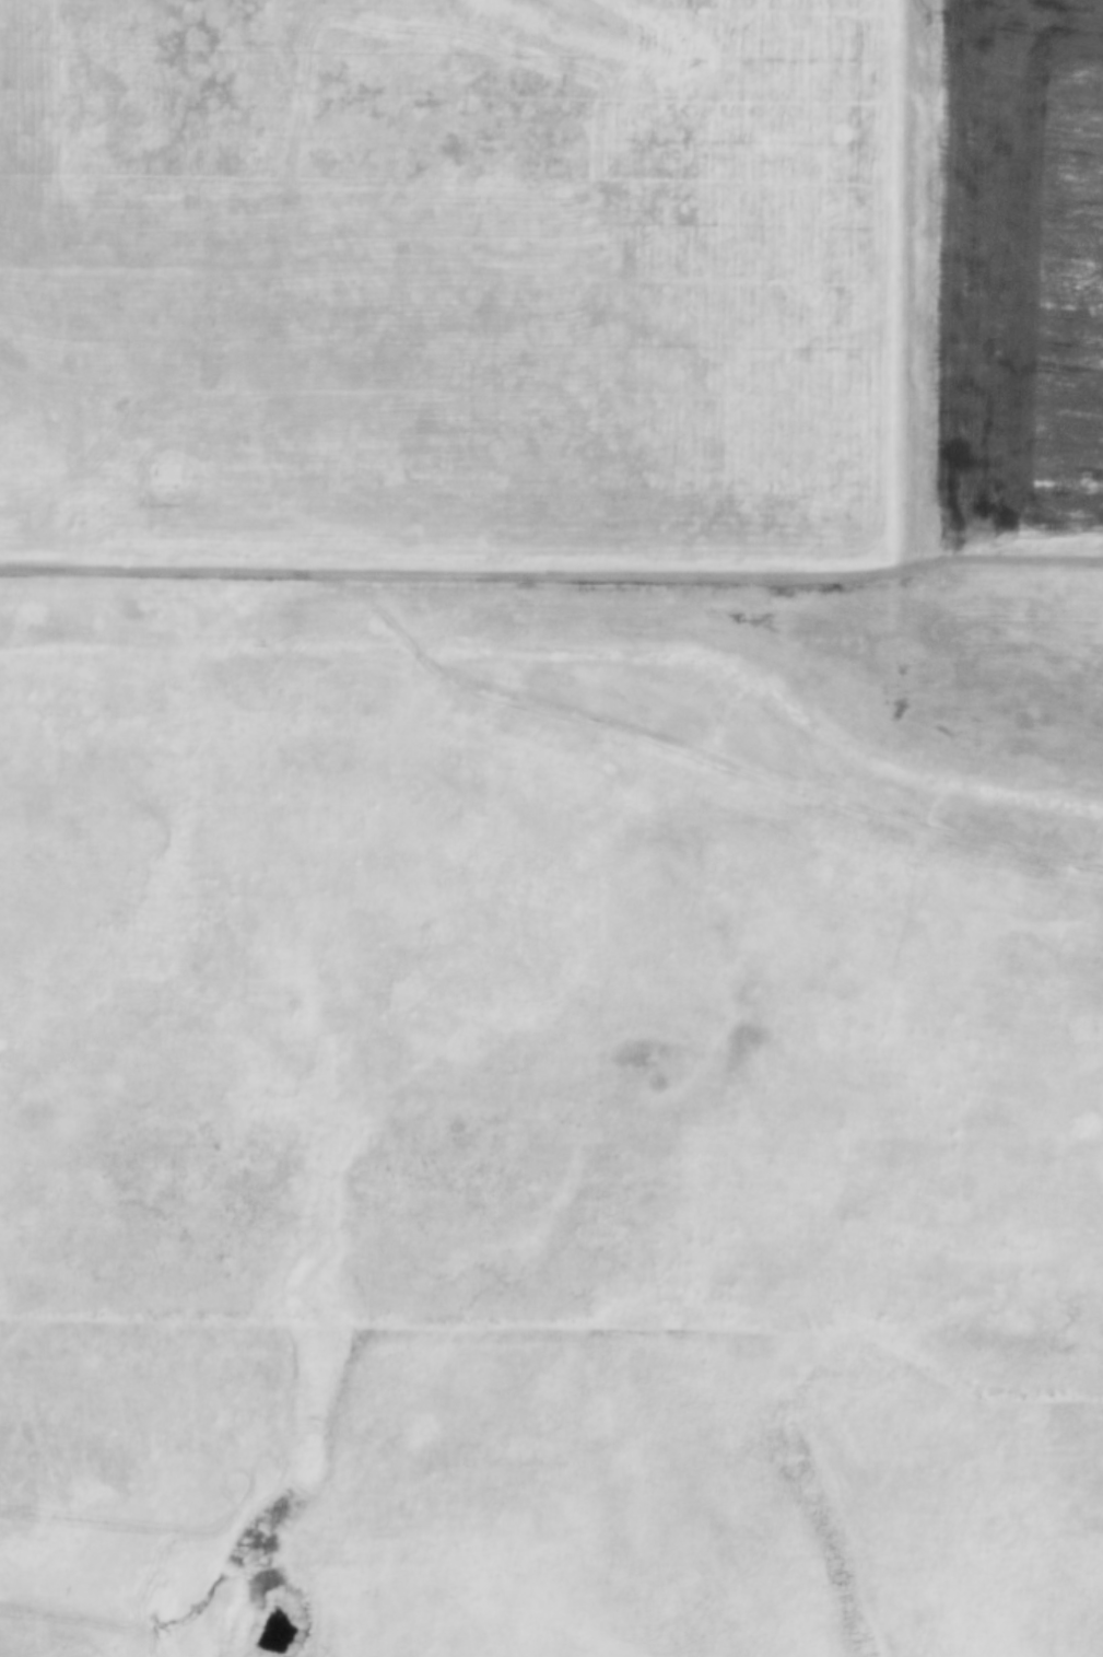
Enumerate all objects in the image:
road: (896, 283)
road: (699, 574)
road: (544, 701)

